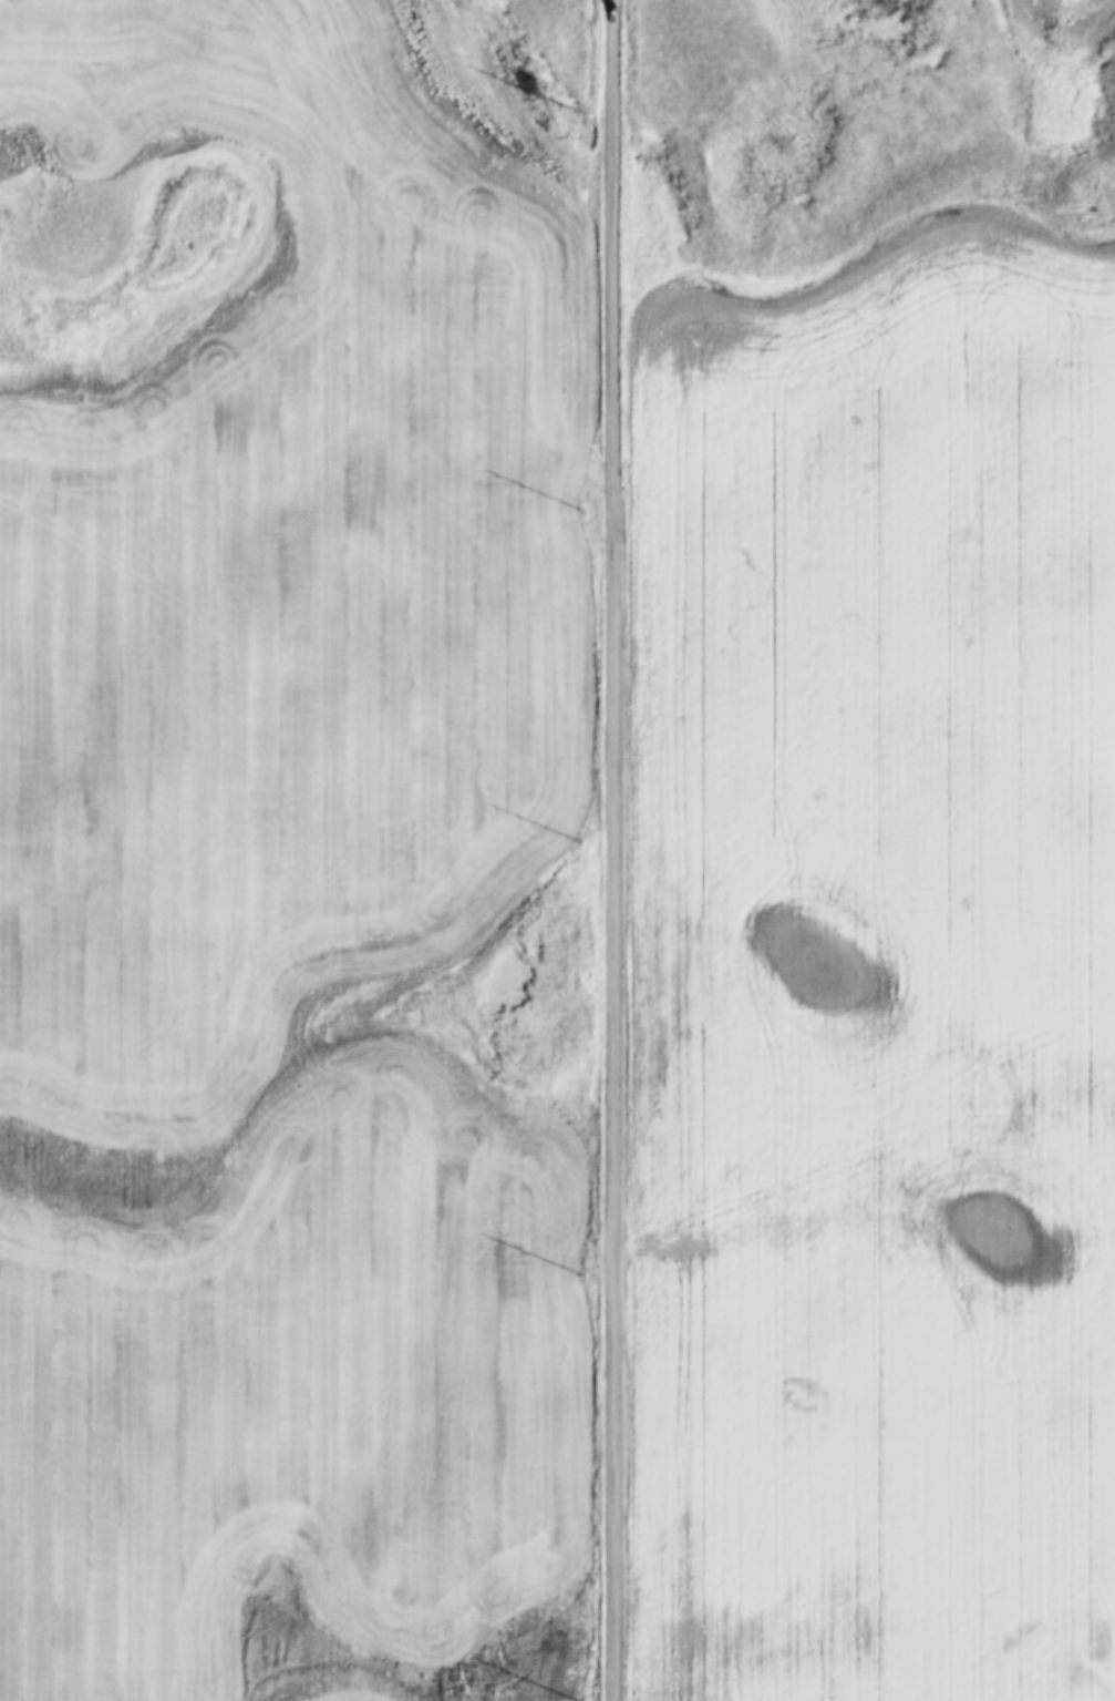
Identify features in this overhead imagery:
road: (611, 850)

